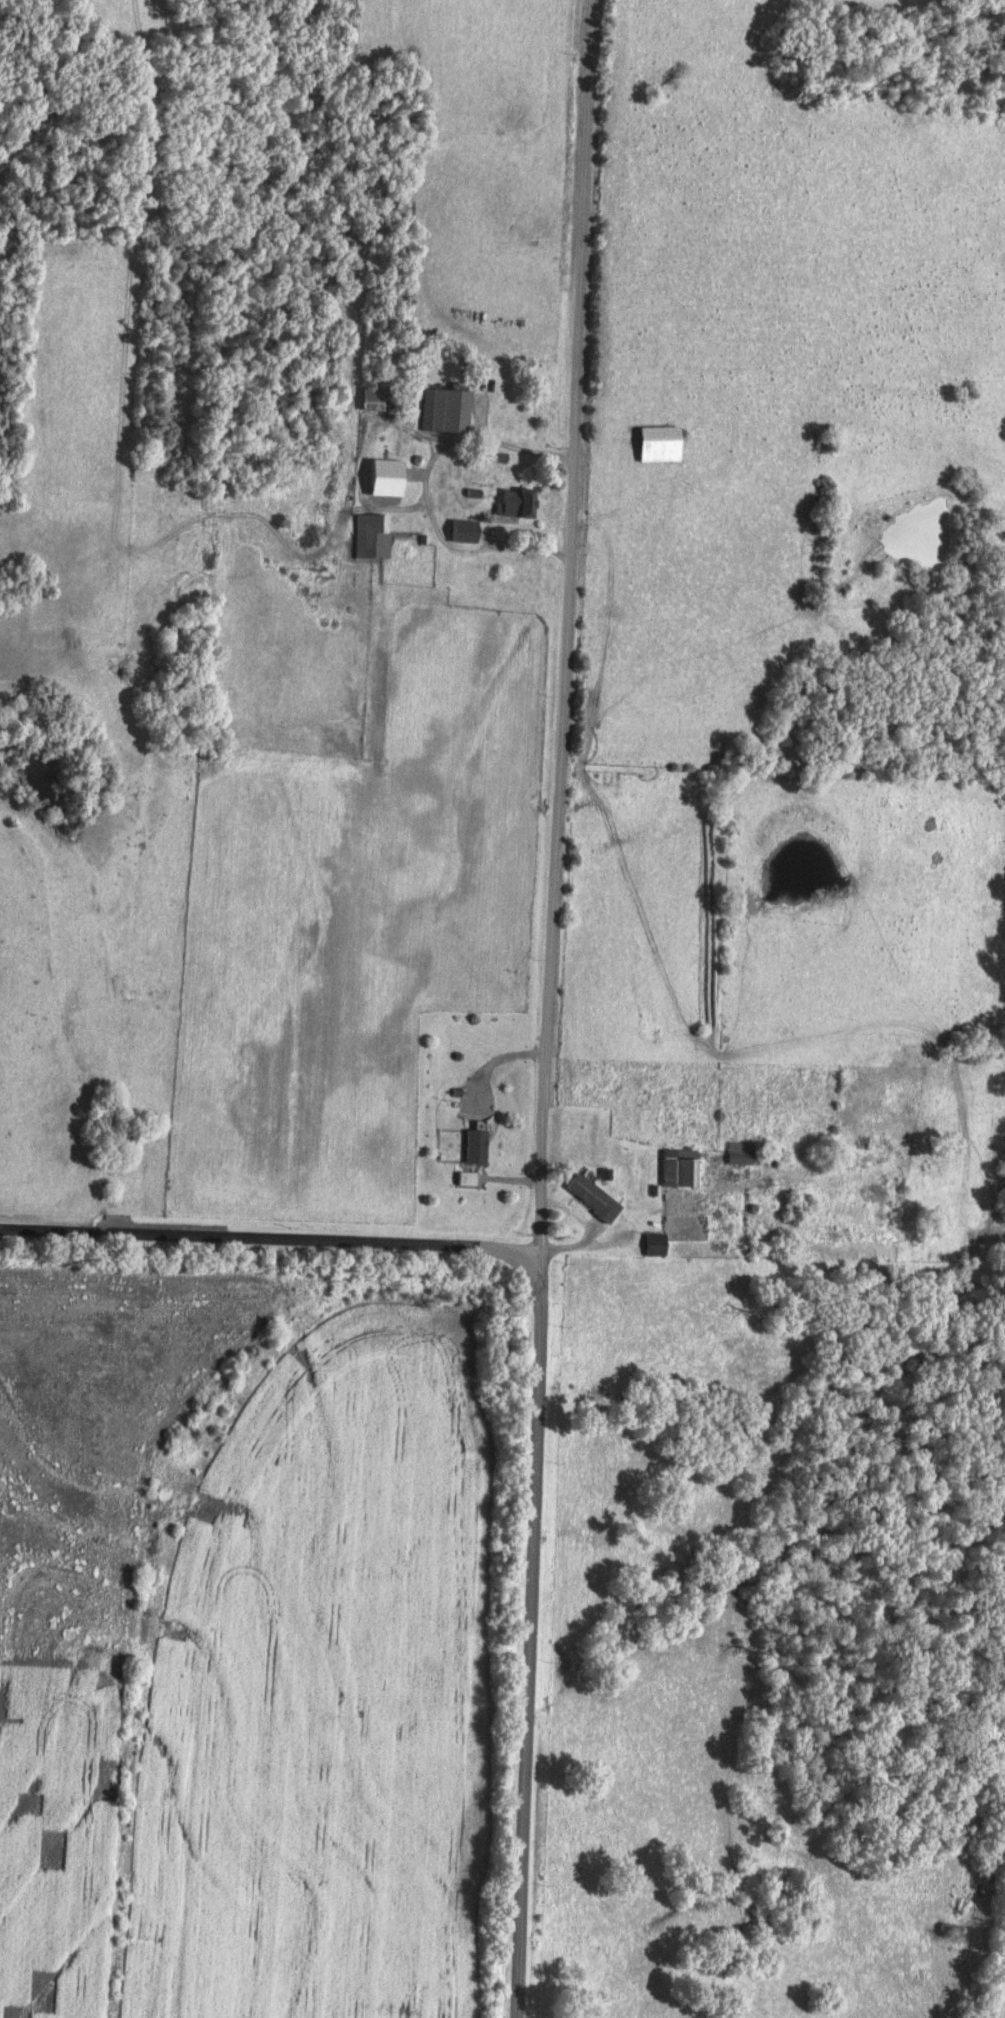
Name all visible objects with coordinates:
building: (395, 208)
building: (451, 408)
building: (660, 442)
building: (389, 477)
road: (428, 493)
building: (518, 502)
building: (466, 529)
building: (372, 535)
road: (565, 625)
building: (477, 1145)
building: (749, 1154)
building: (681, 1167)
building: (594, 1196)
road: (270, 1237)
building: (656, 1243)
road: (527, 1634)

